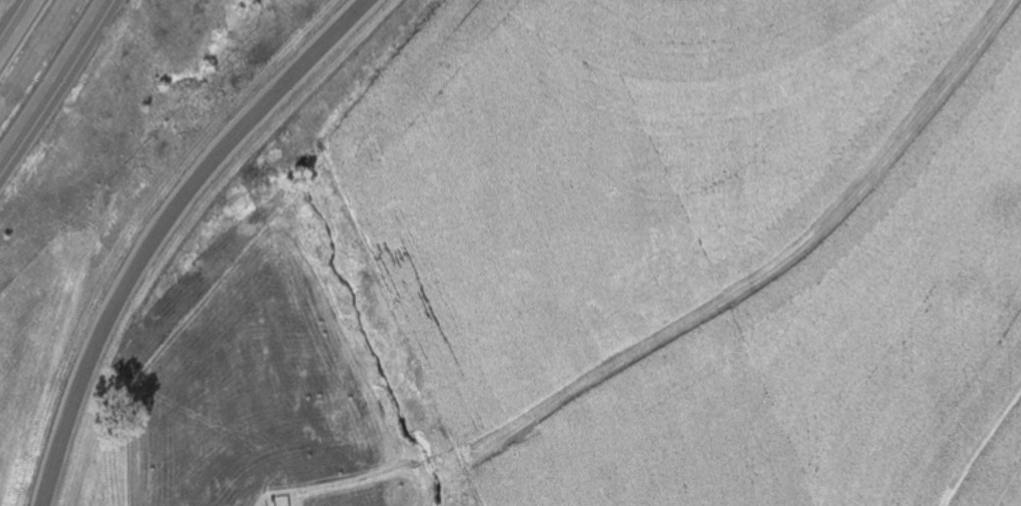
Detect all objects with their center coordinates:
road: (13, 23)
road: (56, 86)
road: (162, 225)

